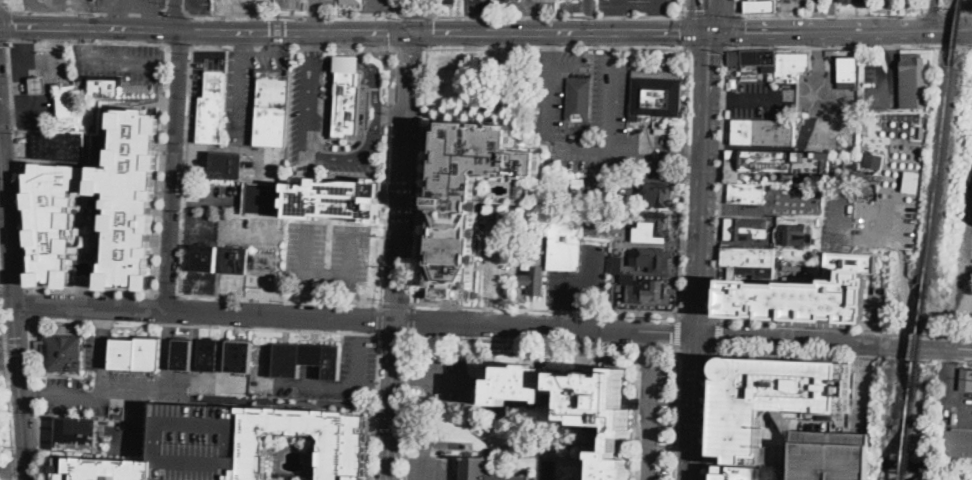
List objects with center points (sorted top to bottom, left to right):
road: (2, 0)
building: (546, 0)
road: (1, 1)
building: (351, 1)
building: (443, 1)
building: (854, 1)
parking lot: (288, 3)
road: (377, 3)
parking lot: (52, 4)
parking lot: (128, 4)
road: (319, 4)
road: (46, 5)
road: (165, 5)
parking lot: (320, 5)
parking lot: (378, 5)
building: (759, 5)
parking lot: (240, 6)
parking lot: (639, 6)
road: (685, 6)
road: (129, 7)
road: (404, 7)
road: (429, 7)
road: (615, 7)
road: (656, 7)
road: (243, 8)
road: (738, 8)
road: (957, 8)
traffic signals: (698, 9)
road: (81, 11)
road: (175, 11)
road: (932, 12)
road: (82, 13)
road: (295, 14)
road: (711, 14)
road: (830, 14)
road: (416, 15)
road: (557, 15)
road: (935, 15)
road: (414, 16)
road: (699, 16)
road: (715, 16)
road: (833, 16)
road: (119, 17)
road: (367, 17)
road: (150, 18)
road: (218, 19)
road: (257, 20)
road: (318, 20)
road: (6, 22)
road: (615, 23)
road: (655, 23)
road: (31, 26)
road: (199, 30)
road: (397, 30)
road: (427, 31)
road: (550, 31)
road: (659, 31)
traffic signals: (679, 31)
road: (733, 31)
road: (373, 32)
traffic signals: (412, 32)
road: (450, 32)
road: (684, 32)
road: (839, 32)
railway: (955, 32)
traffic signals: (747, 33)
road: (612, 39)
road: (4, 40)
road: (548, 40)
road: (87, 41)
road: (241, 43)
road: (274, 43)
road: (180, 44)
road: (892, 44)
road: (849, 46)
road: (293, 47)
road: (410, 47)
road: (557, 47)
road: (311, 48)
road: (706, 48)
traffic signals: (710, 52)
road: (817, 52)
road: (116, 57)
parking lot: (121, 59)
building: (773, 62)
road: (565, 65)
parking lot: (204, 66)
building: (847, 69)
road: (239, 75)
road: (889, 79)
parking lot: (880, 81)
building: (912, 81)
building: (38, 84)
gas station: (38, 84)
building: (104, 86)
parking lot: (247, 87)
road: (549, 92)
building: (655, 95)
building: (347, 97)
road: (719, 97)
road: (756, 98)
building: (579, 100)
road: (611, 100)
parking lot: (755, 100)
building: (66, 104)
building: (212, 107)
building: (272, 107)
road: (811, 109)
parking lot: (825, 112)
parking lot: (308, 114)
parking lot: (594, 114)
road: (392, 115)
building: (763, 132)
road: (1, 133)
road: (361, 136)
road: (707, 137)
road: (425, 139)
building: (59, 145)
road: (756, 146)
road: (367, 148)
road: (611, 152)
road: (175, 155)
road: (693, 158)
building: (764, 161)
building: (873, 161)
parking lot: (262, 162)
road: (16, 163)
building: (223, 163)
parking lot: (349, 166)
road: (161, 167)
road: (186, 169)
road: (387, 174)
road: (421, 174)
railway: (938, 174)
road: (404, 175)
building: (866, 176)
road: (3, 183)
road: (684, 183)
road: (719, 184)
building: (746, 193)
building: (655, 194)
parking lot: (225, 195)
road: (7, 197)
building: (261, 198)
building: (333, 198)
parking lot: (793, 198)
building: (480, 199)
parking garage: (480, 199)
road: (734, 206)
road: (791, 208)
building: (97, 211)
parking lot: (839, 218)
parking lot: (884, 222)
building: (655, 223)
building: (590, 225)
building: (745, 229)
parking lot: (233, 230)
parking lot: (617, 232)
building: (796, 235)
building: (564, 238)
road: (161, 239)
road: (680, 243)
parking lot: (95, 245)
parking lot: (328, 254)
parking lot: (499, 257)
building: (748, 257)
building: (205, 258)
building: (651, 258)
building: (250, 261)
building: (618, 263)
parking lot: (960, 263)
road: (329, 271)
road: (596, 278)
building: (534, 280)
parking lot: (200, 281)
parking lot: (581, 281)
parking lot: (231, 284)
road: (90, 289)
road: (700, 289)
building: (652, 290)
road: (562, 291)
road: (903, 292)
road: (167, 293)
road: (84, 294)
road: (324, 294)
road: (7, 296)
road: (279, 297)
building: (800, 299)
road: (0, 302)
road: (27, 303)
road: (397, 303)
road: (0, 309)
road: (546, 310)
road: (204, 312)
road: (696, 315)
road: (562, 317)
road: (380, 318)
road: (595, 318)
road: (412, 319)
road: (843, 324)
road: (522, 325)
road: (277, 328)
road: (678, 332)
road: (716, 332)
road: (672, 333)
road: (395, 334)
traffic signals: (698, 334)
railway: (919, 340)
road: (544, 341)
road: (834, 342)
road: (167, 346)
road: (646, 346)
road: (695, 348)
road: (785, 351)
building: (62, 352)
building: (137, 354)
building: (183, 355)
building: (208, 355)
parking lot: (359, 356)
building: (239, 357)
building: (306, 359)
parking lot: (0, 369)
parking lot: (447, 378)
building: (965, 378)
road: (431, 379)
road: (7, 381)
parking lot: (129, 384)
road: (20, 388)
road: (861, 389)
road: (355, 390)
road: (377, 390)
road: (131, 393)
parking lot: (953, 393)
road: (953, 393)
road: (59, 396)
building: (773, 397)
road: (36, 398)
road: (392, 399)
building: (576, 405)
road: (694, 406)
road: (405, 408)
railway: (912, 409)
road: (709, 411)
road: (676, 413)
road: (650, 420)
parking lot: (654, 421)
road: (143, 430)
building: (77, 435)
parking lot: (124, 438)
building: (199, 441)
parking garage: (199, 441)
road: (428, 442)
building: (955, 442)
railway: (907, 450)
building: (824, 454)
parking lot: (824, 454)
building: (343, 458)
parking lot: (430, 460)
road: (14, 467)
road: (14, 469)
building: (102, 469)
building: (549, 470)
building: (485, 471)
building: (725, 472)
parking lot: (955, 479)

